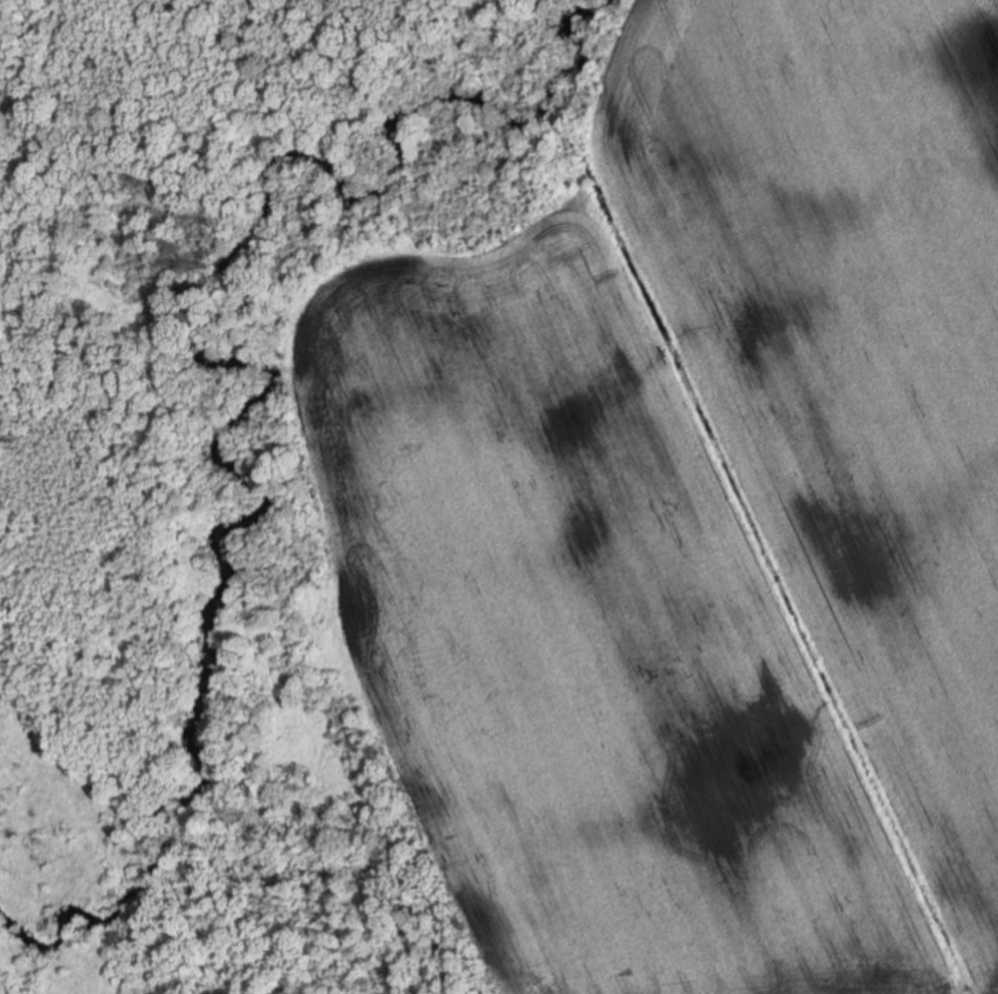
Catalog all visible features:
river: (273, 360)

